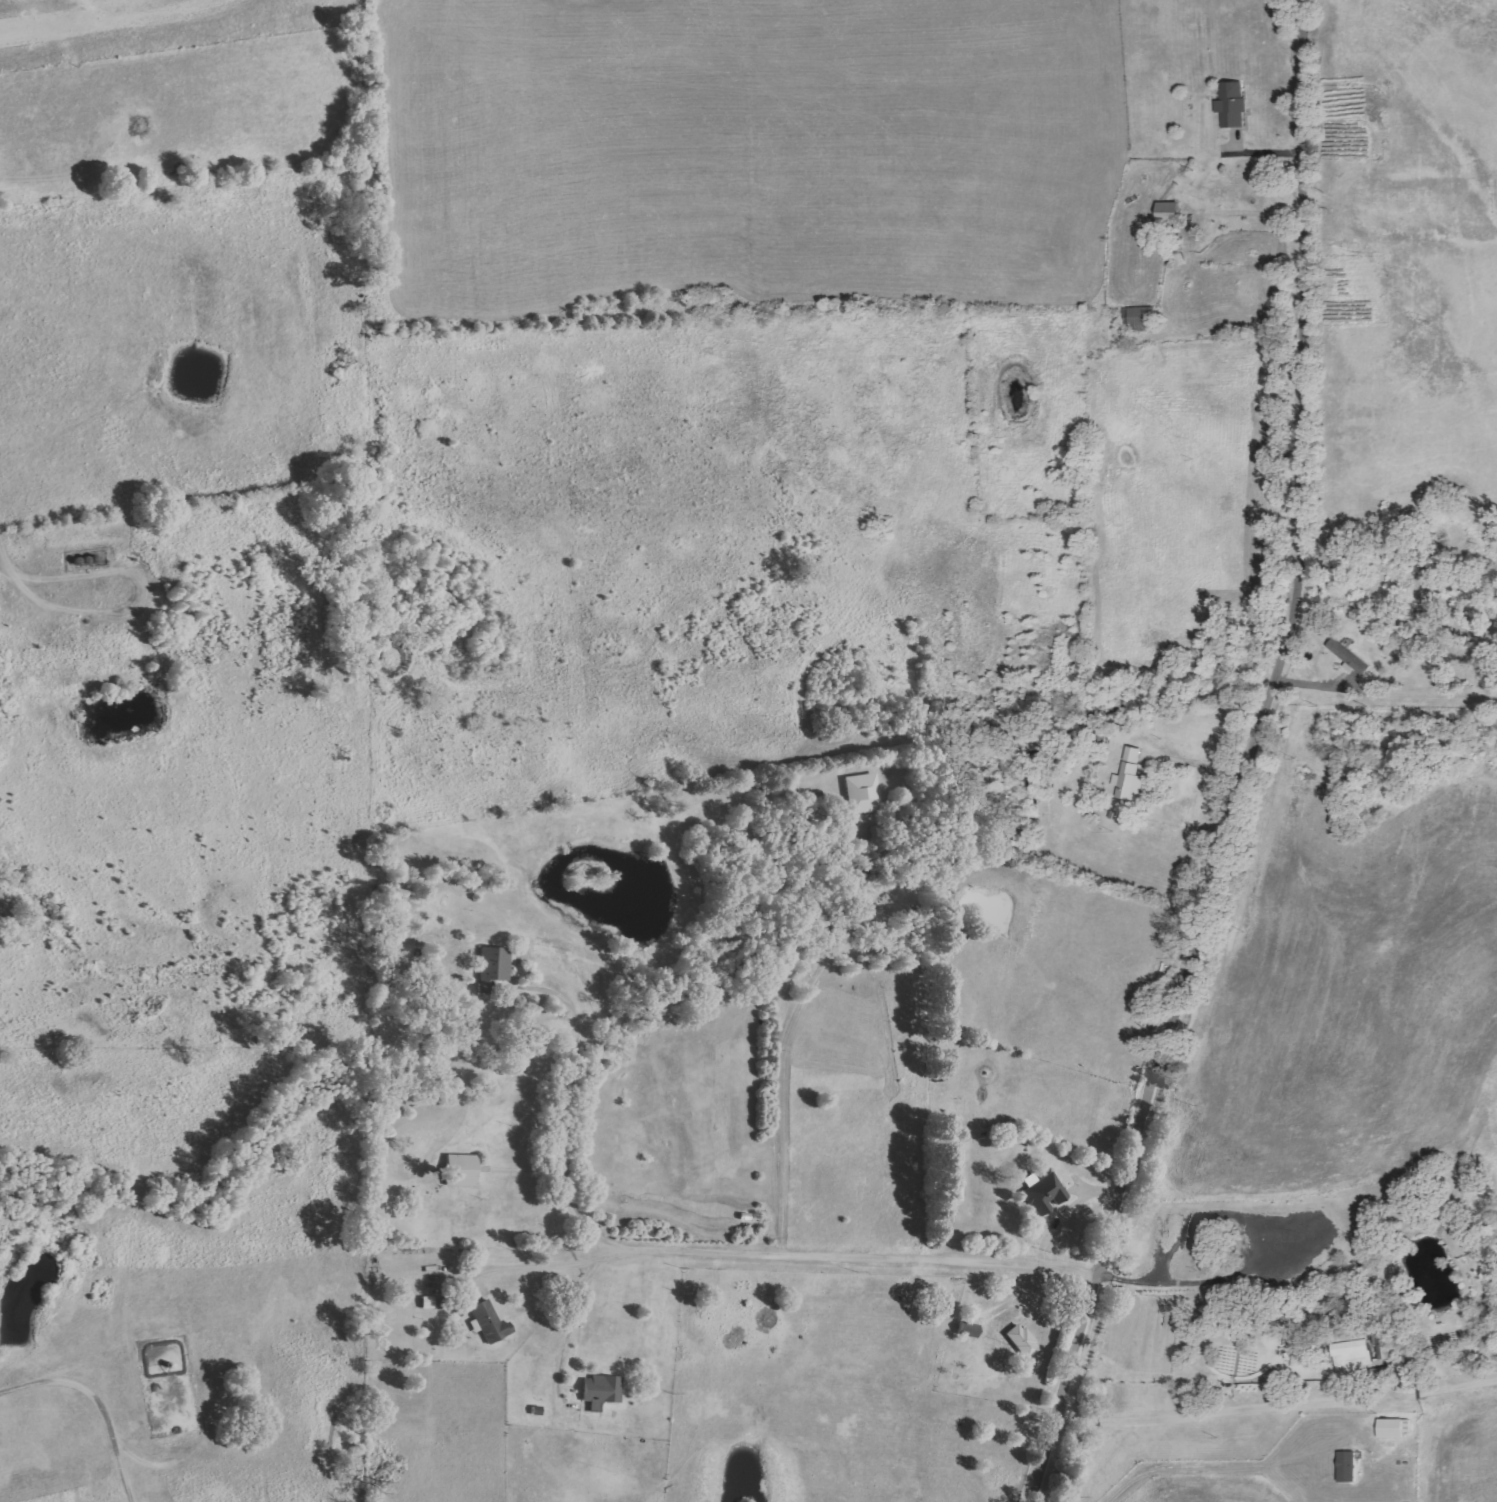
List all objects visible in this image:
building: (1232, 104)
building: (1349, 657)
road: (1244, 762)
building: (1130, 776)
building: (863, 793)
building: (496, 968)
building: (462, 1170)
building: (953, 1188)
building: (1046, 1194)
building: (491, 1322)
building: (1023, 1340)
building: (1361, 1355)
building: (602, 1391)
building: (1395, 1428)
building: (1348, 1467)

